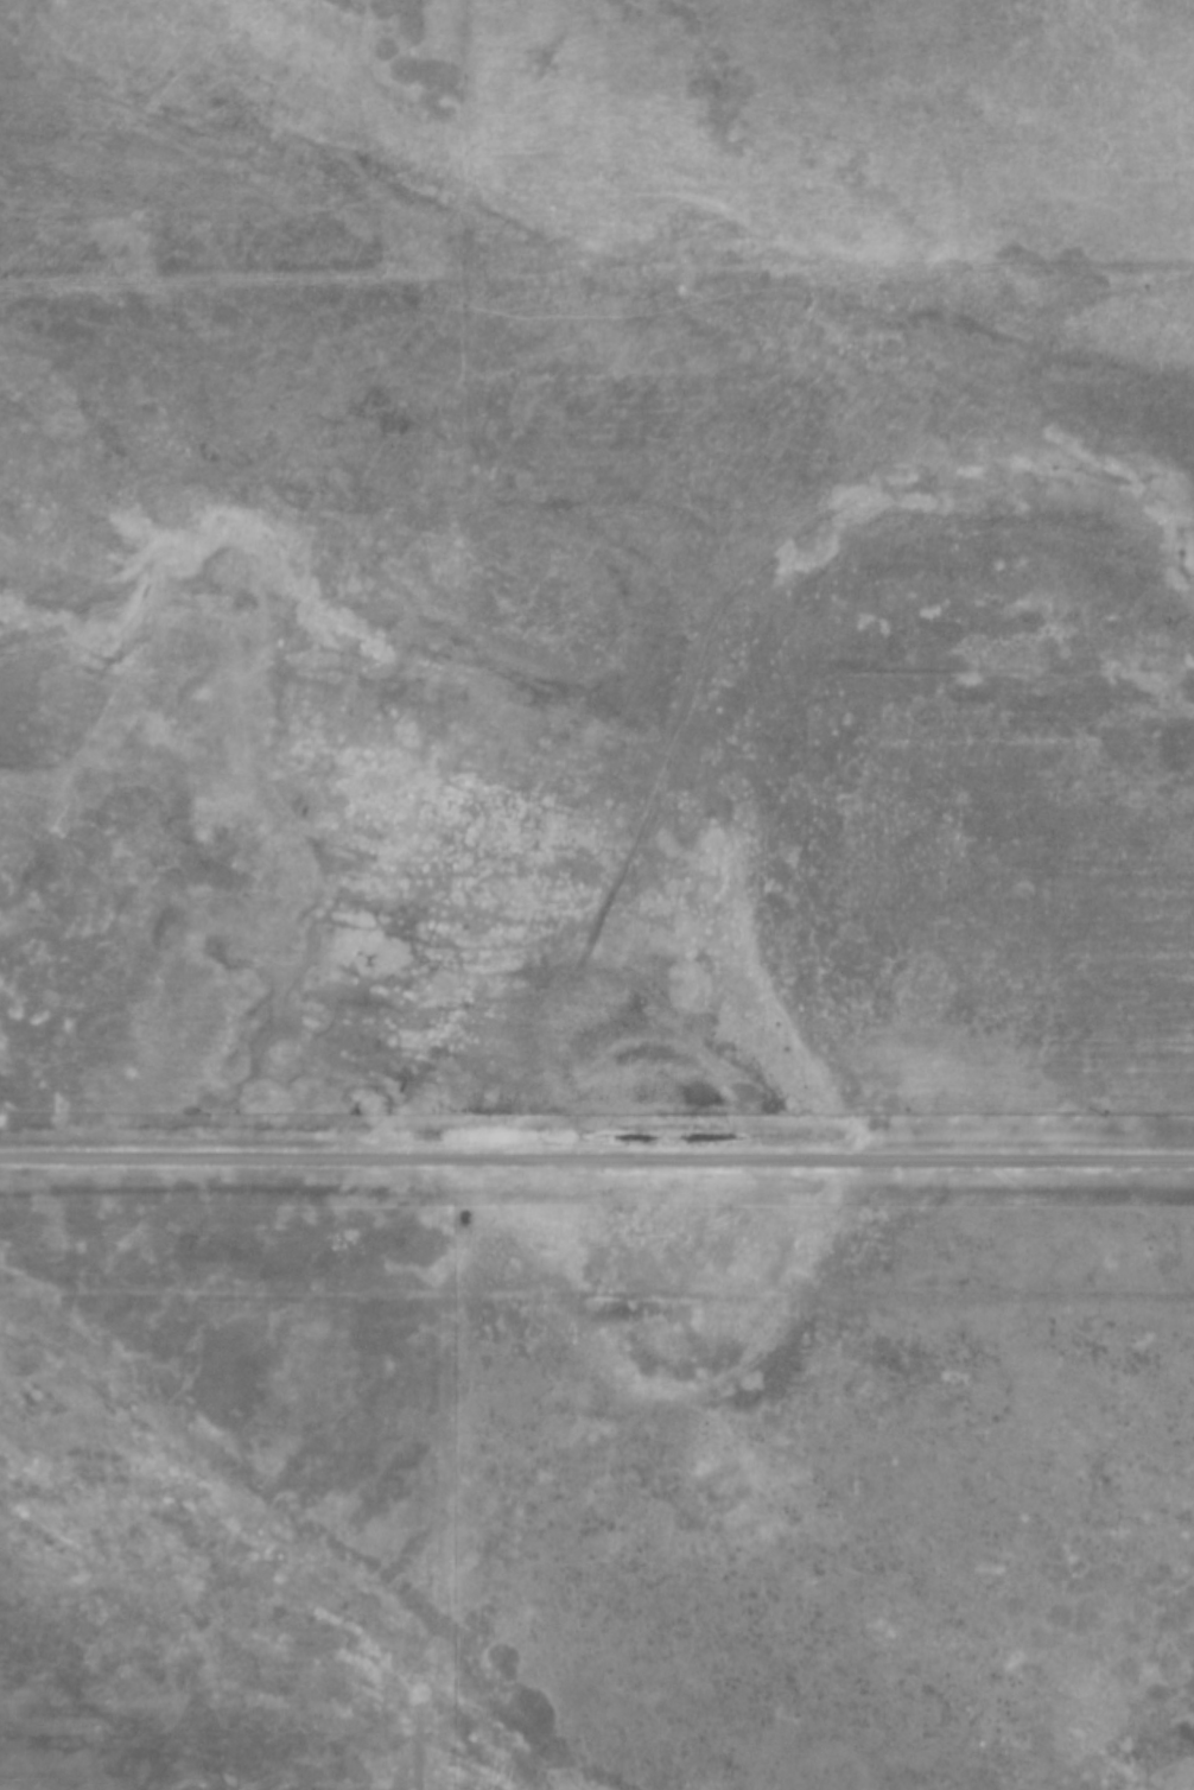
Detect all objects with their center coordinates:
road: (596, 1160)

